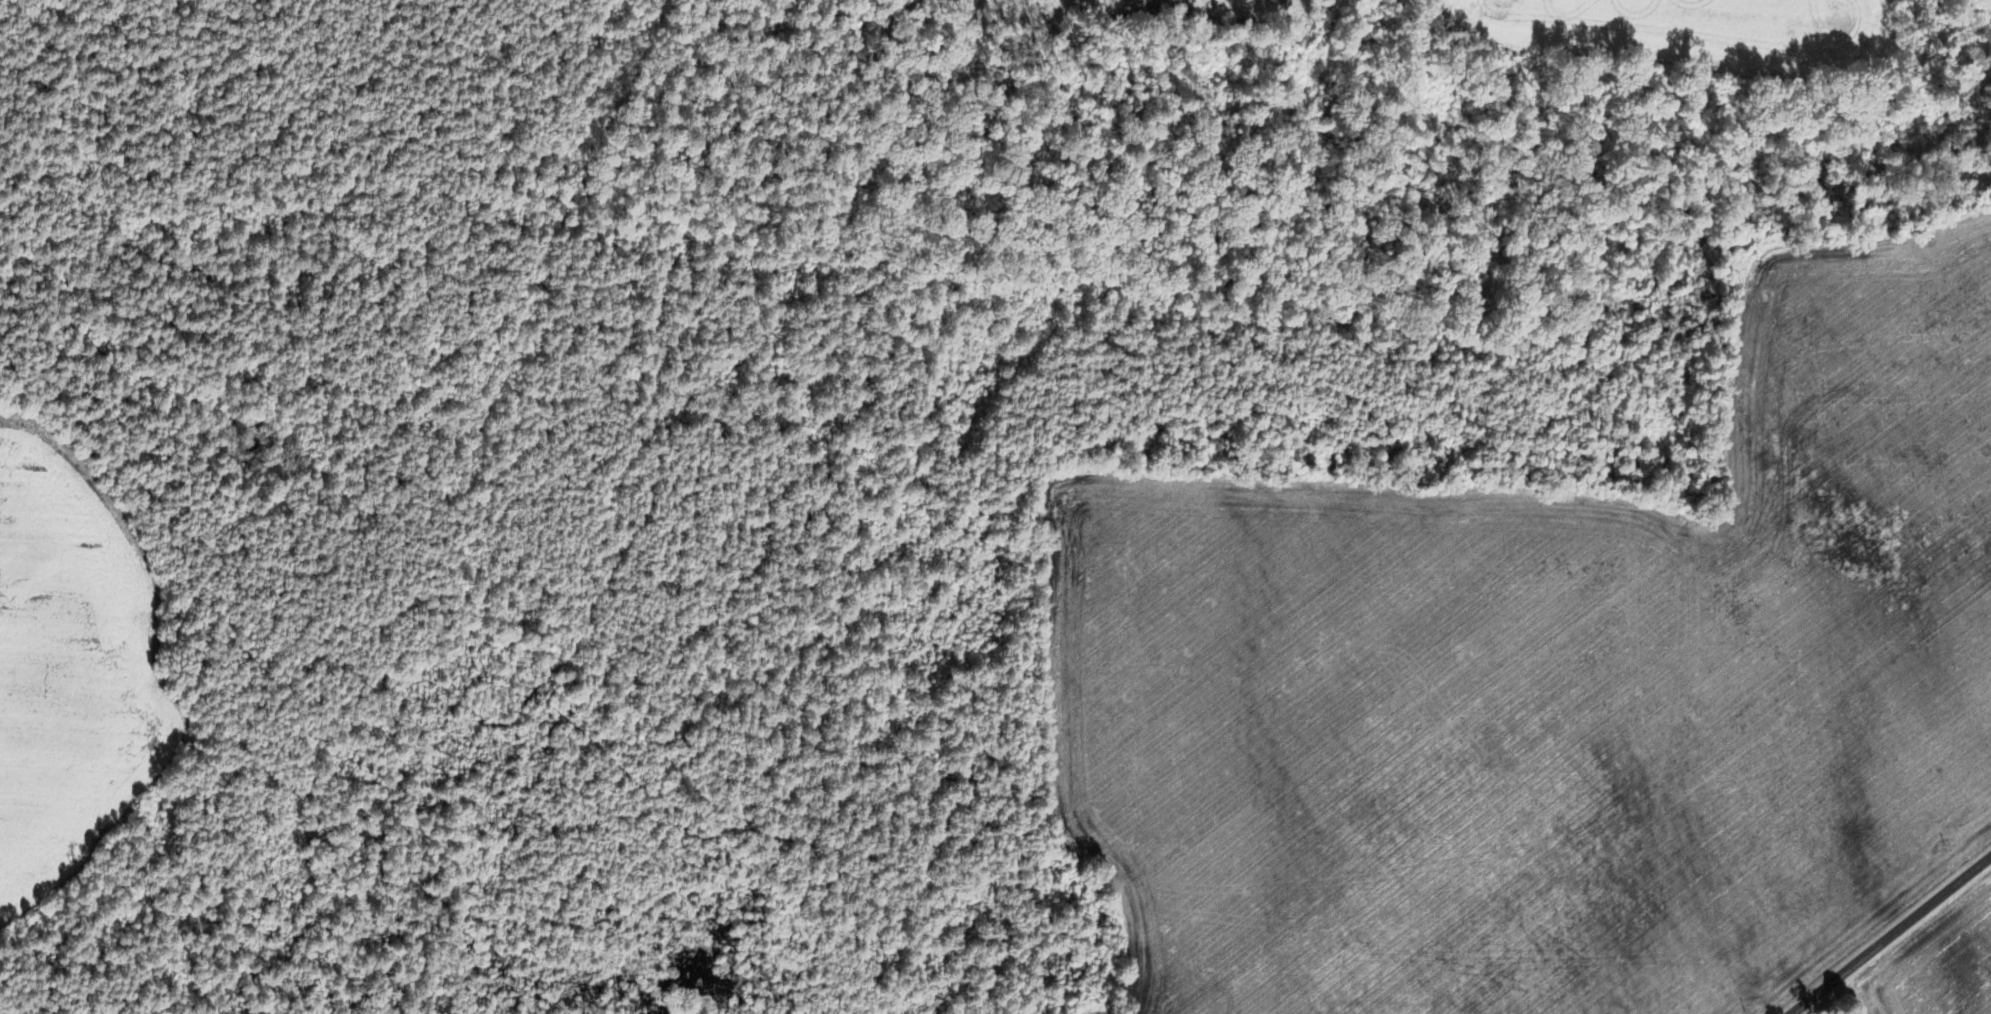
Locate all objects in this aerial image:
road: (1890, 934)

